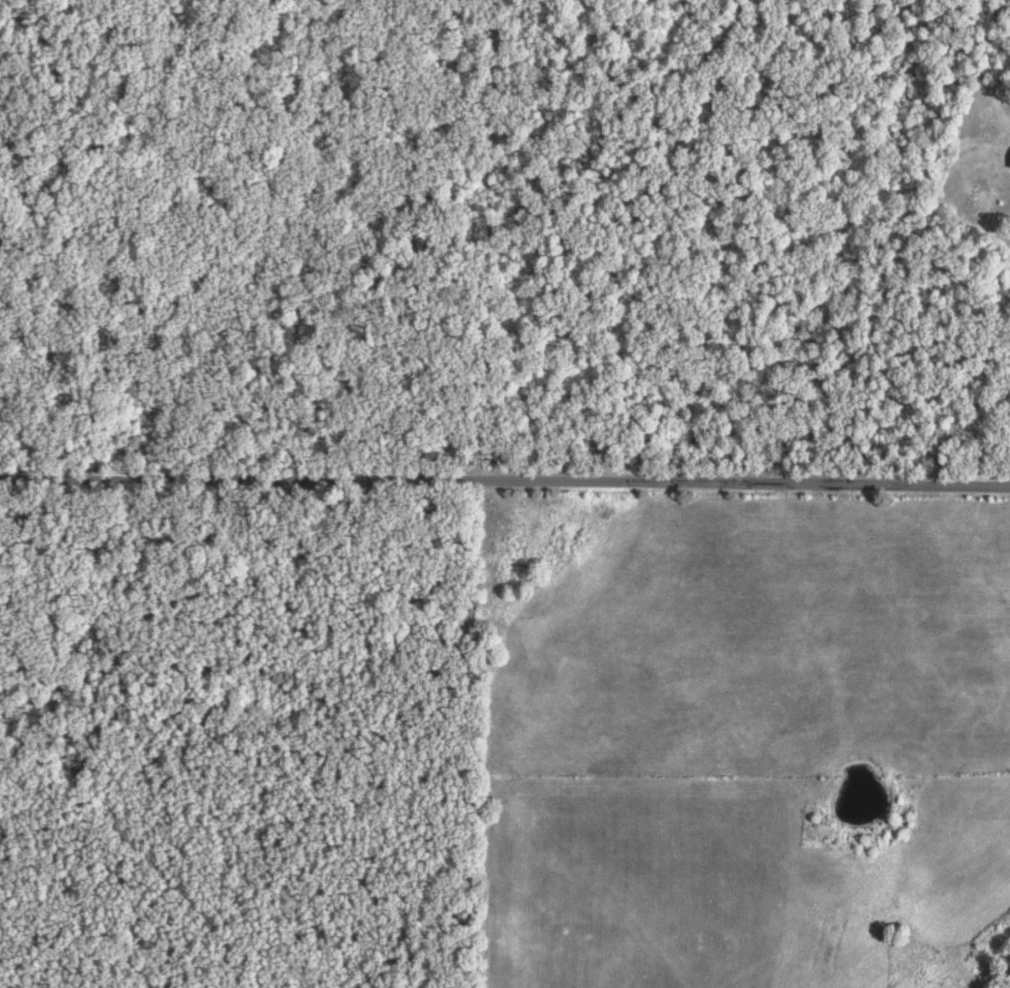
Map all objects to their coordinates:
road: (504, 478)

